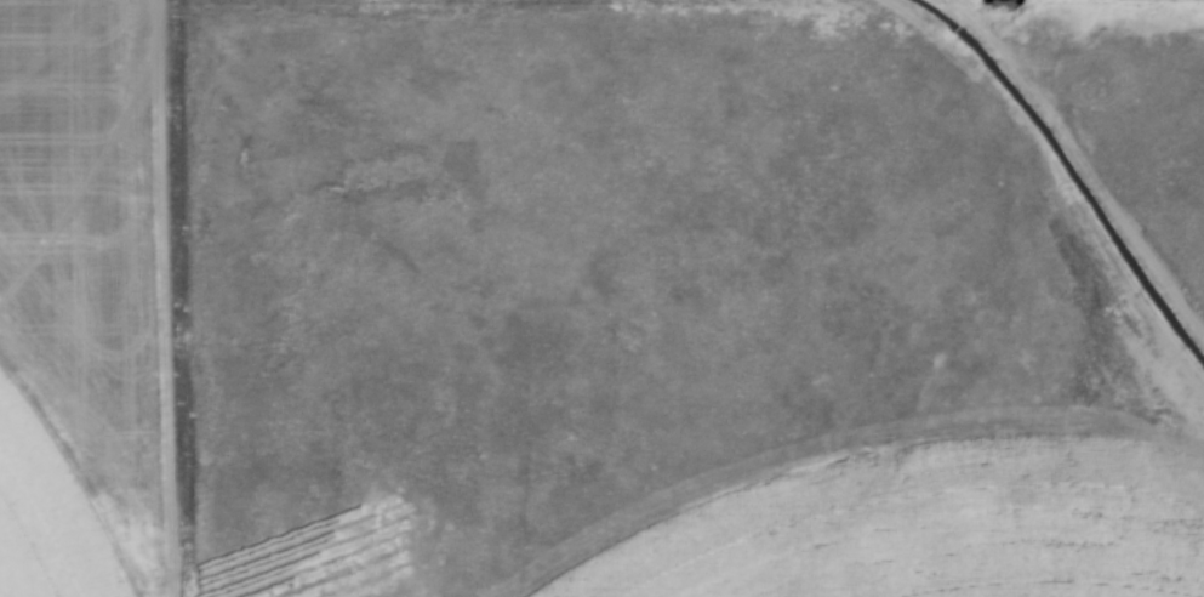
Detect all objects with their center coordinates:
crop: (69, 300)
crop: (902, 538)

